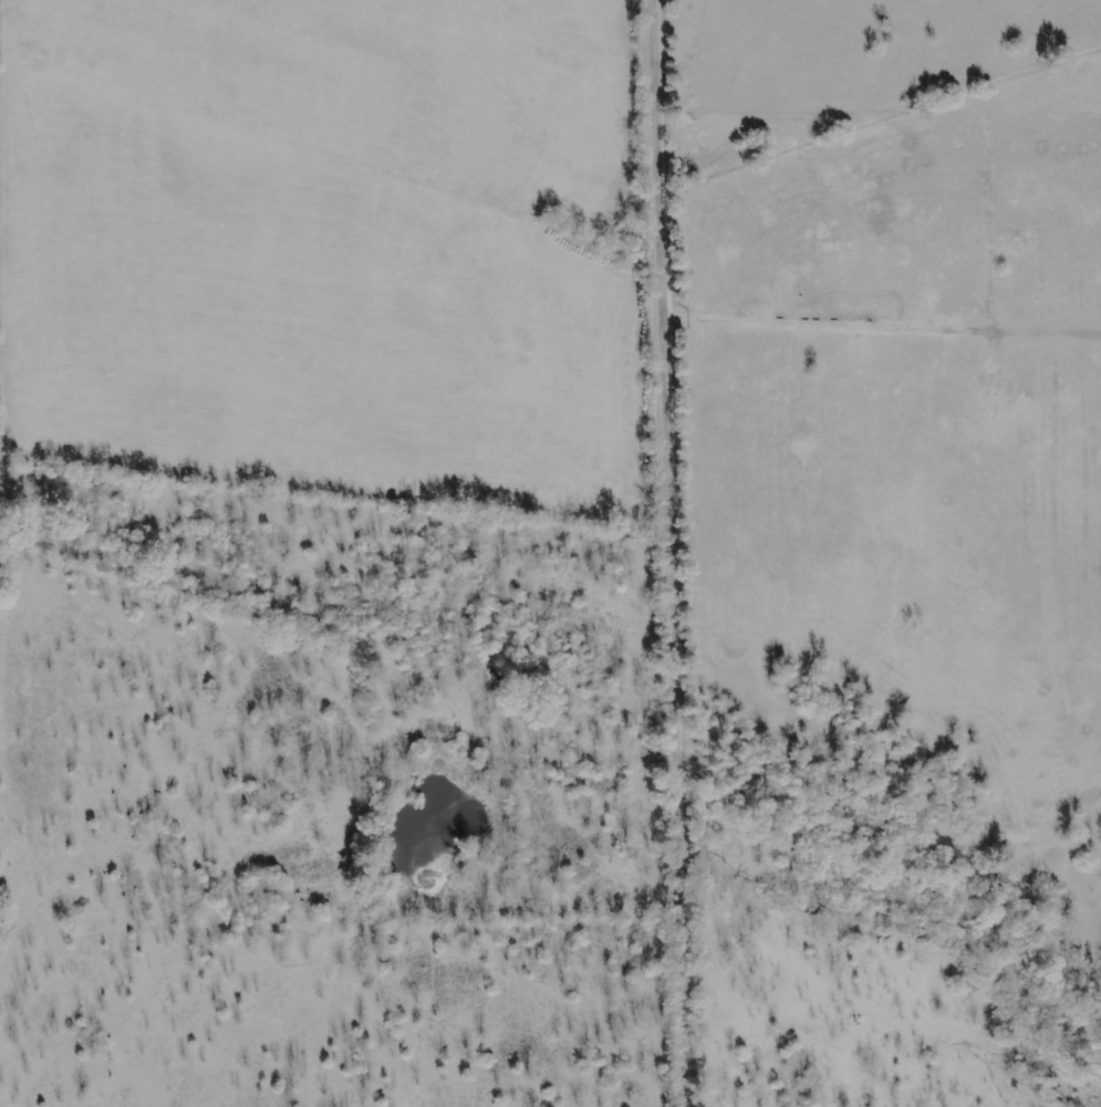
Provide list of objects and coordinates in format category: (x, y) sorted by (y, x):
road: (679, 553)

